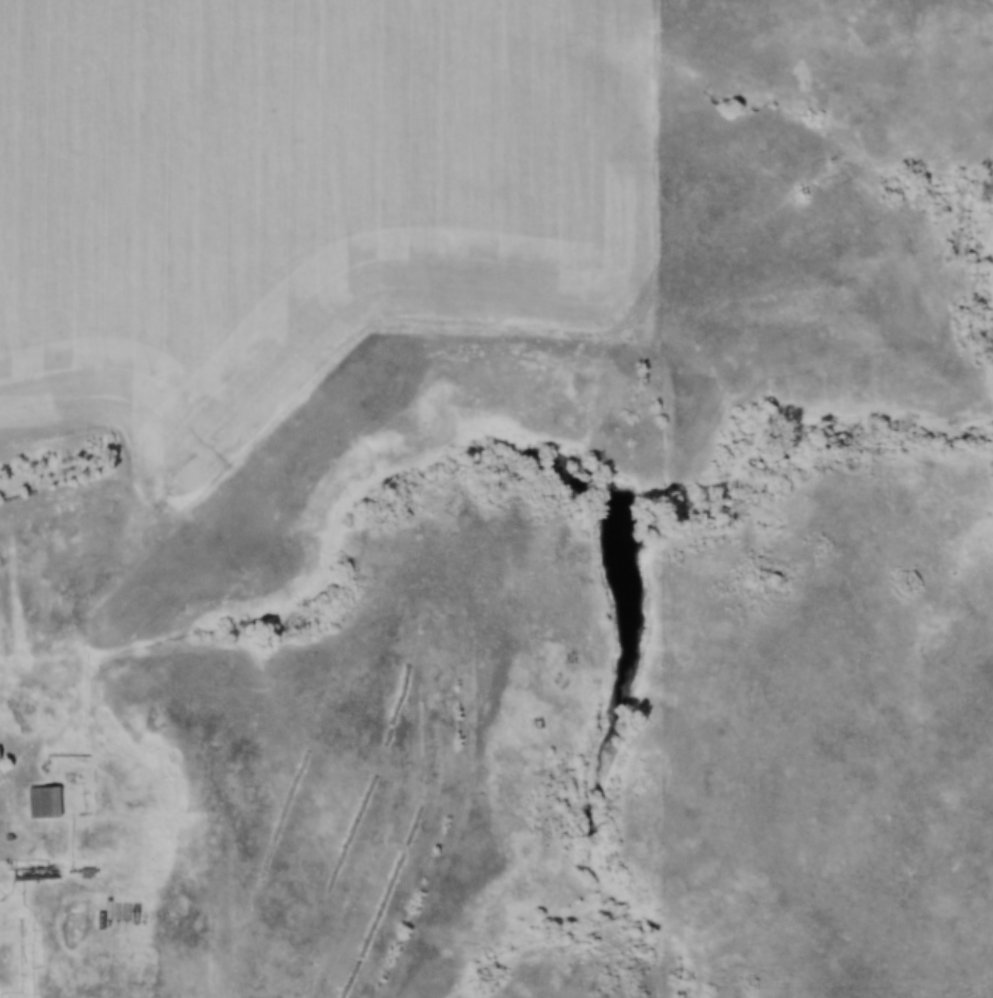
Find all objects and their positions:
building: (37, 801)

